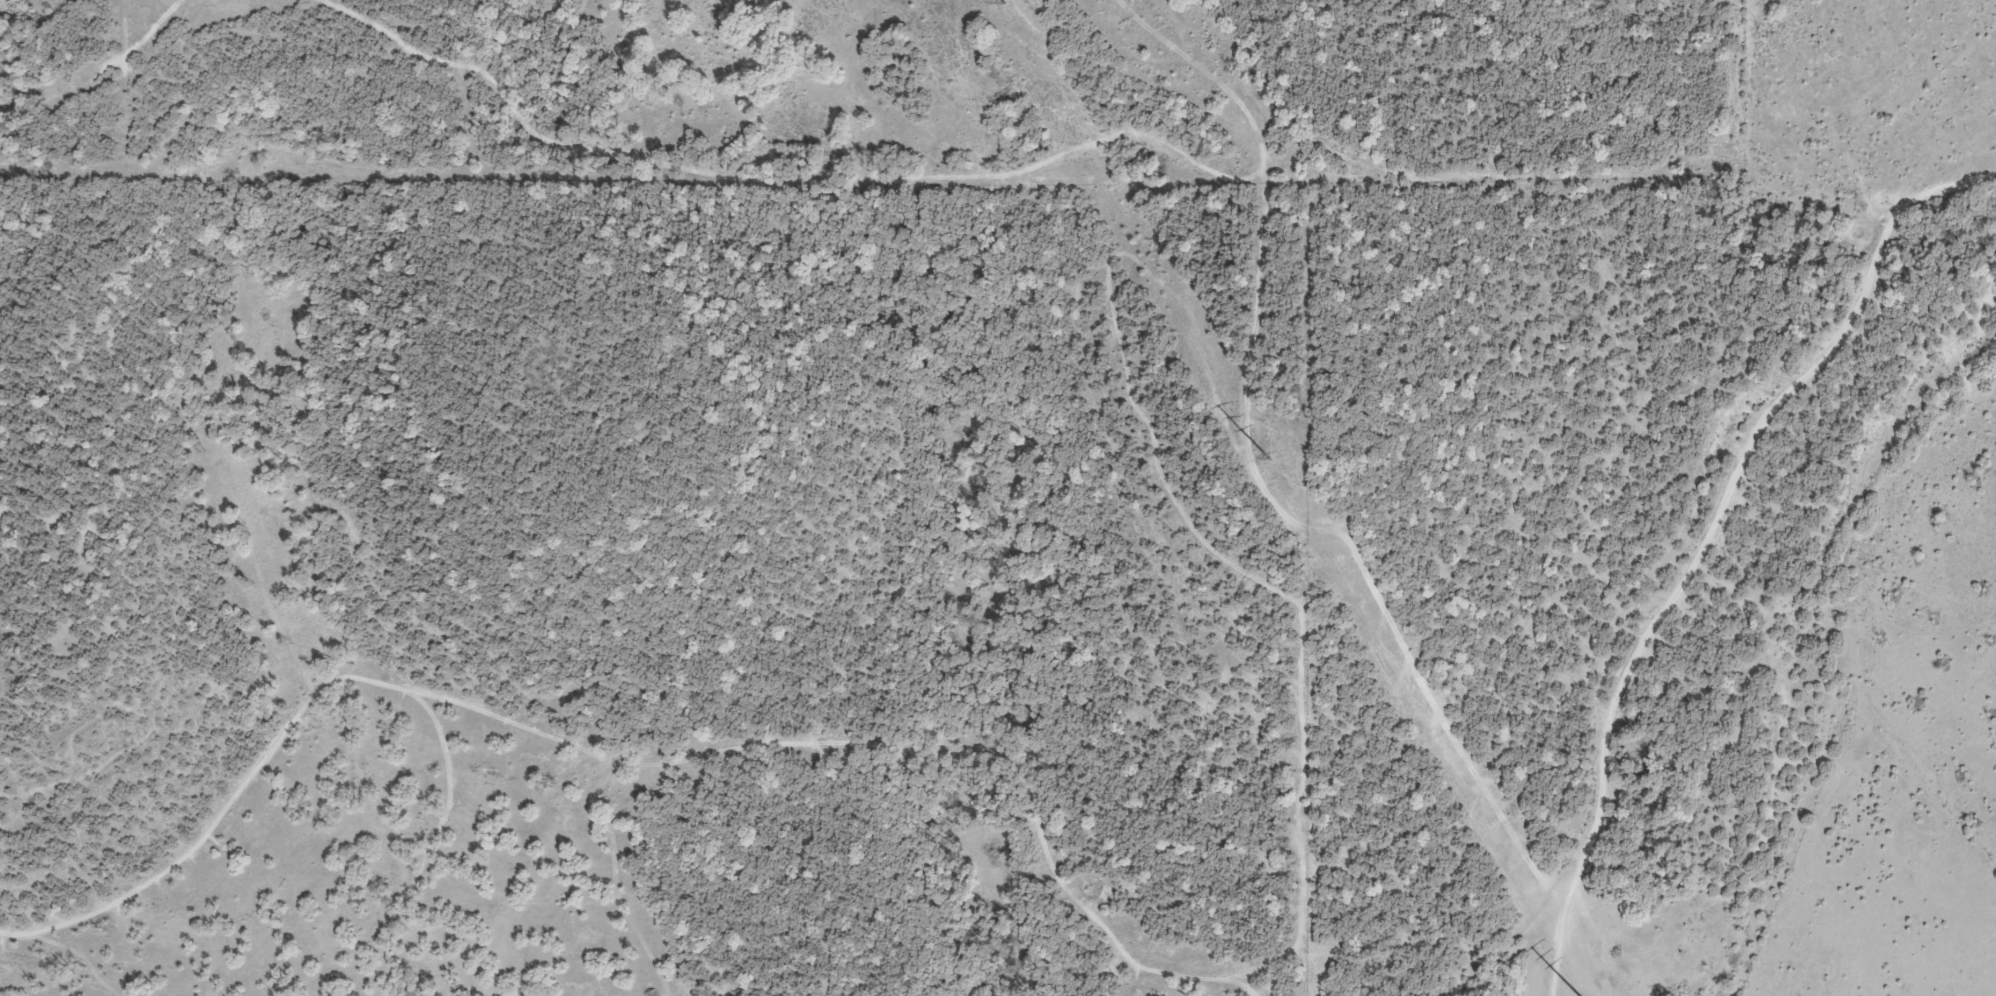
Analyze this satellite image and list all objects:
power tower: (1008, 5)
power tower: (1273, 457)
building: (1646, 935)

